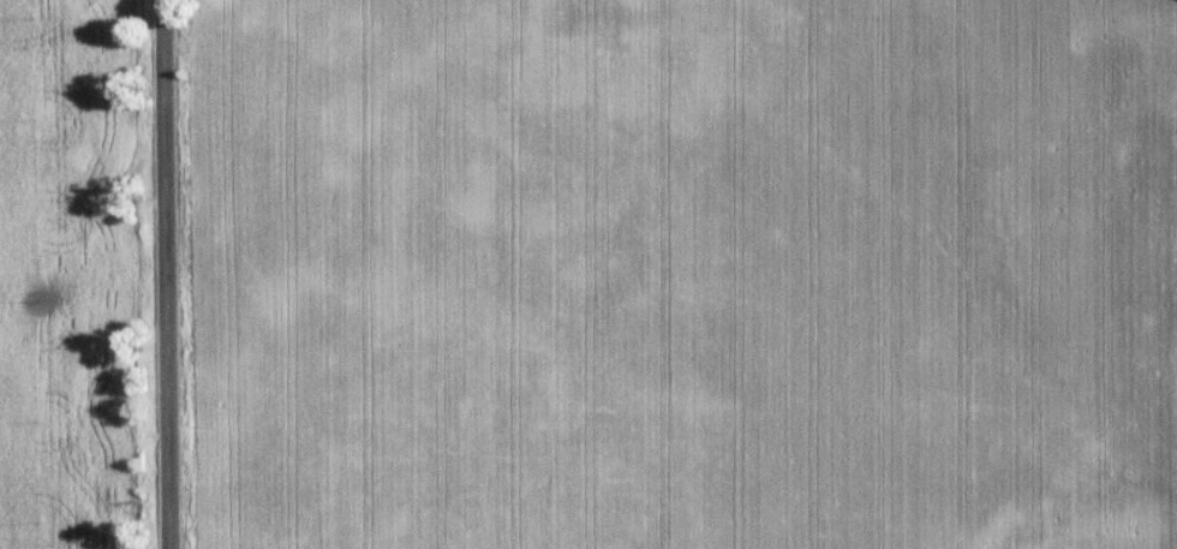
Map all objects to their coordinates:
road: (177, 274)

